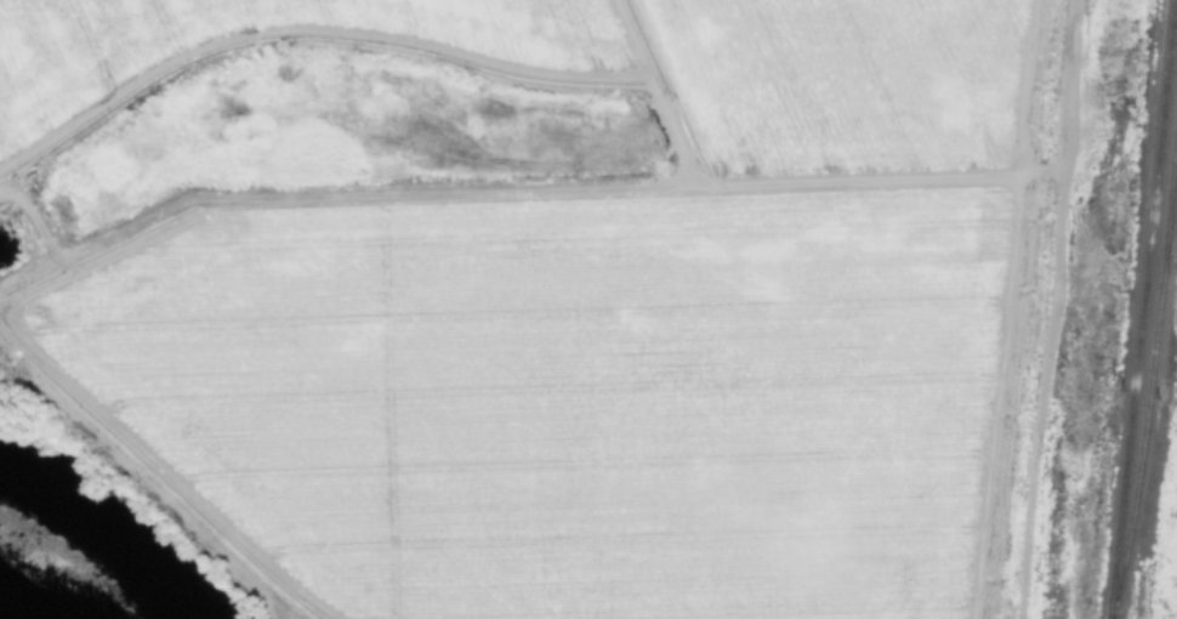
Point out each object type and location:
road: (649, 92)
road: (512, 188)
railway: (1172, 195)
railway: (1141, 308)
road: (1047, 309)
railway: (1152, 370)

